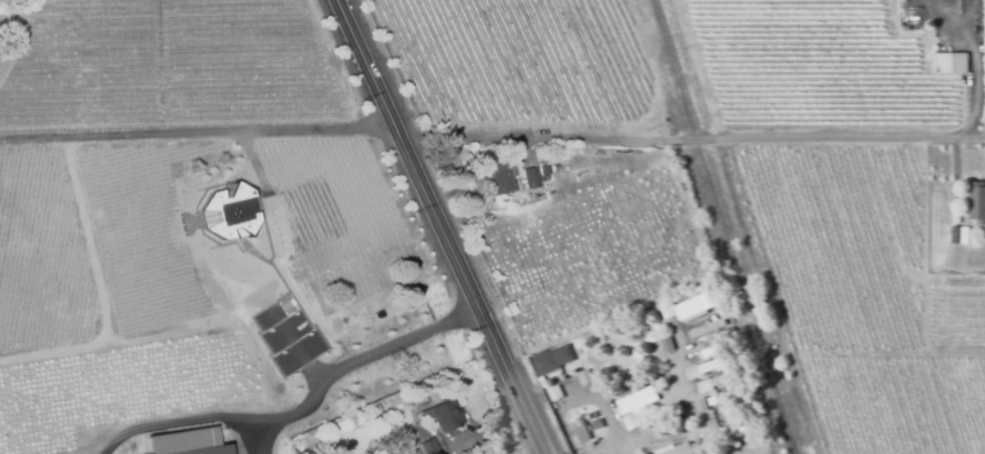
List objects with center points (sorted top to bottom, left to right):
building: (905, 28)
building: (951, 62)
road: (981, 79)
road: (198, 132)
road: (694, 140)
building: (180, 148)
building: (671, 157)
building: (544, 170)
building: (530, 178)
building: (496, 180)
building: (977, 202)
road: (443, 226)
railway: (731, 226)
building: (959, 236)
building: (194, 246)
building: (356, 284)
building: (685, 308)
building: (369, 312)
building: (314, 315)
building: (378, 315)
building: (706, 329)
building: (268, 334)
building: (665, 345)
building: (715, 346)
building: (553, 361)
building: (716, 363)
building: (585, 375)
building: (725, 378)
building: (376, 384)
building: (554, 391)
building: (356, 395)
building: (636, 401)
building: (727, 401)
road: (671, 402)
building: (700, 403)
building: (375, 410)
road: (304, 413)
building: (438, 417)
building: (630, 421)
building: (597, 424)
building: (744, 428)
building: (288, 430)
building: (581, 432)
road: (274, 436)
road: (512, 444)
building: (703, 445)
building: (428, 447)
building: (674, 450)
road: (82, 453)

